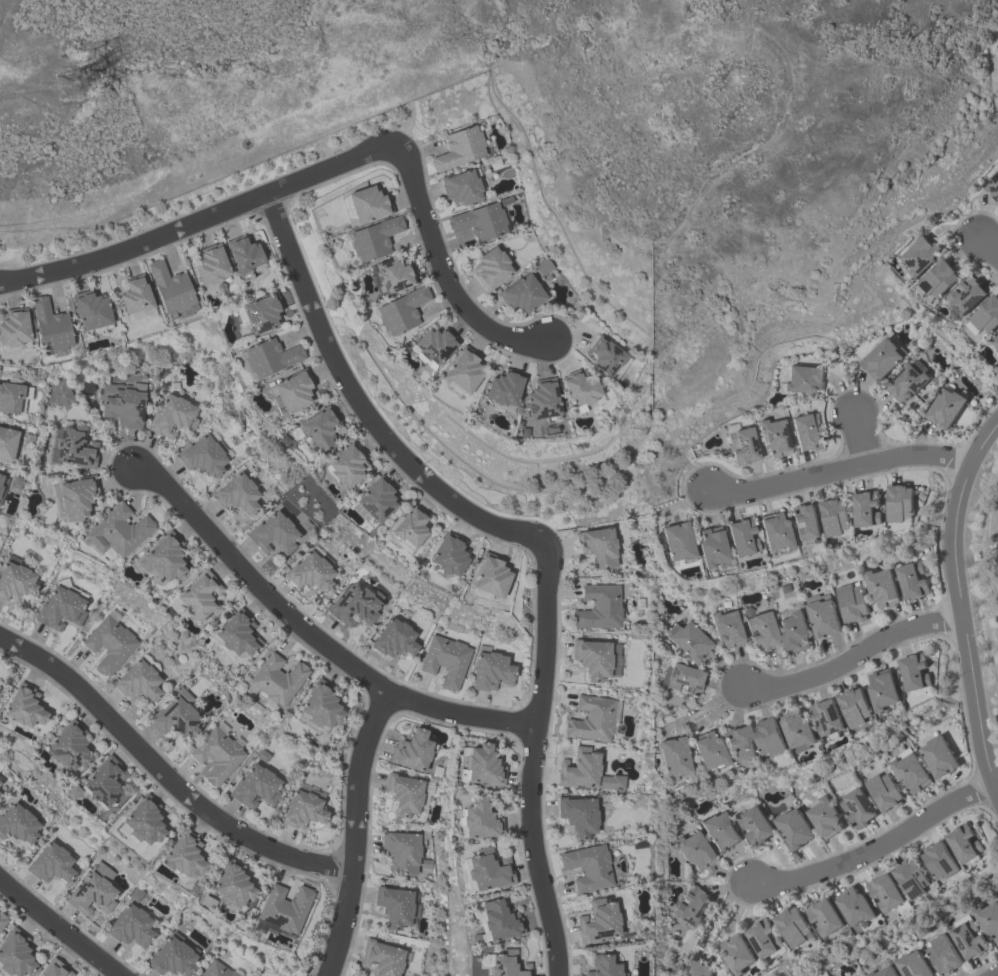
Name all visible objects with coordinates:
park: (993, 65)
road: (997, 82)
power tower: (71, 86)
building: (458, 148)
building: (992, 185)
building: (460, 186)
building: (366, 203)
road: (200, 218)
building: (479, 221)
building: (373, 238)
road: (988, 247)
building: (242, 253)
building: (919, 254)
building: (209, 264)
building: (543, 266)
building: (490, 268)
road: (444, 271)
building: (392, 274)
building: (938, 277)
building: (170, 288)
building: (521, 293)
building: (965, 294)
building: (134, 295)
building: (90, 309)
building: (400, 310)
building: (260, 312)
building: (986, 313)
building: (13, 326)
building: (49, 326)
building: (995, 339)
building: (433, 345)
building: (997, 348)
building: (604, 355)
building: (269, 357)
building: (881, 358)
building: (463, 369)
building: (802, 379)
building: (905, 382)
building: (503, 387)
building: (87, 388)
building: (579, 388)
building: (291, 391)
building: (58, 395)
building: (10, 397)
building: (541, 402)
building: (121, 404)
building: (944, 407)
road: (363, 408)
building: (171, 417)
building: (317, 427)
building: (805, 432)
building: (773, 436)
road: (859, 437)
building: (6, 443)
building: (74, 446)
building: (741, 446)
building: (201, 456)
building: (344, 464)
road: (838, 469)
building: (0, 476)
building: (0, 487)
building: (236, 494)
building: (76, 496)
building: (374, 499)
building: (899, 502)
building: (866, 507)
building: (835, 515)
building: (804, 522)
building: (408, 528)
building: (117, 531)
building: (774, 531)
building: (272, 533)
building: (740, 536)
building: (676, 542)
building: (597, 546)
building: (710, 546)
building: (447, 554)
building: (163, 557)
building: (309, 572)
building: (489, 575)
building: (910, 579)
building: (15, 580)
building: (880, 586)
building: (197, 597)
building: (851, 602)
building: (354, 605)
road: (959, 605)
building: (597, 607)
building: (59, 608)
building: (822, 614)
building: (726, 628)
building: (761, 630)
building: (794, 631)
building: (237, 633)
road: (311, 633)
building: (393, 639)
building: (688, 641)
building: (108, 644)
building: (592, 658)
road: (852, 658)
building: (444, 660)
building: (489, 671)
building: (914, 671)
building: (683, 678)
building: (276, 679)
building: (136, 681)
building: (883, 688)
building: (320, 705)
building: (854, 705)
building: (25, 708)
building: (175, 714)
building: (828, 717)
building: (590, 719)
building: (798, 728)
building: (769, 735)
building: (738, 744)
building: (71, 749)
building: (411, 750)
building: (707, 750)
building: (216, 755)
building: (261, 755)
building: (937, 756)
building: (672, 757)
road: (535, 763)
building: (481, 766)
building: (578, 768)
building: (910, 771)
road: (163, 775)
building: (2, 783)
building: (107, 786)
building: (254, 787)
building: (883, 791)
building: (403, 793)
building: (857, 807)
building: (301, 810)
building: (577, 815)
building: (824, 816)
building: (478, 819)
building: (754, 824)
building: (19, 825)
building: (144, 826)
building: (793, 827)
building: (719, 831)
road: (350, 833)
building: (963, 842)
road: (876, 848)
building: (693, 850)
building: (401, 851)
building: (185, 858)
building: (939, 859)
building: (52, 865)
building: (587, 867)
building: (487, 869)
building: (910, 877)
building: (234, 887)
building: (885, 891)
building: (94, 896)
building: (855, 905)
building: (393, 906)
building: (691, 906)
building: (285, 908)
building: (825, 916)
building: (987, 918)
building: (498, 920)
building: (3, 922)
building: (597, 922)
road: (62, 925)
building: (792, 925)
building: (133, 929)
building: (763, 937)
building: (967, 939)
building: (736, 953)
building: (941, 954)
building: (16, 956)
building: (175, 958)
building: (381, 958)
building: (505, 964)
building: (911, 965)
building: (603, 966)
building: (696, 968)
building: (217, 970)
building: (55, 971)
building: (882, 971)
road: (994, 974)

